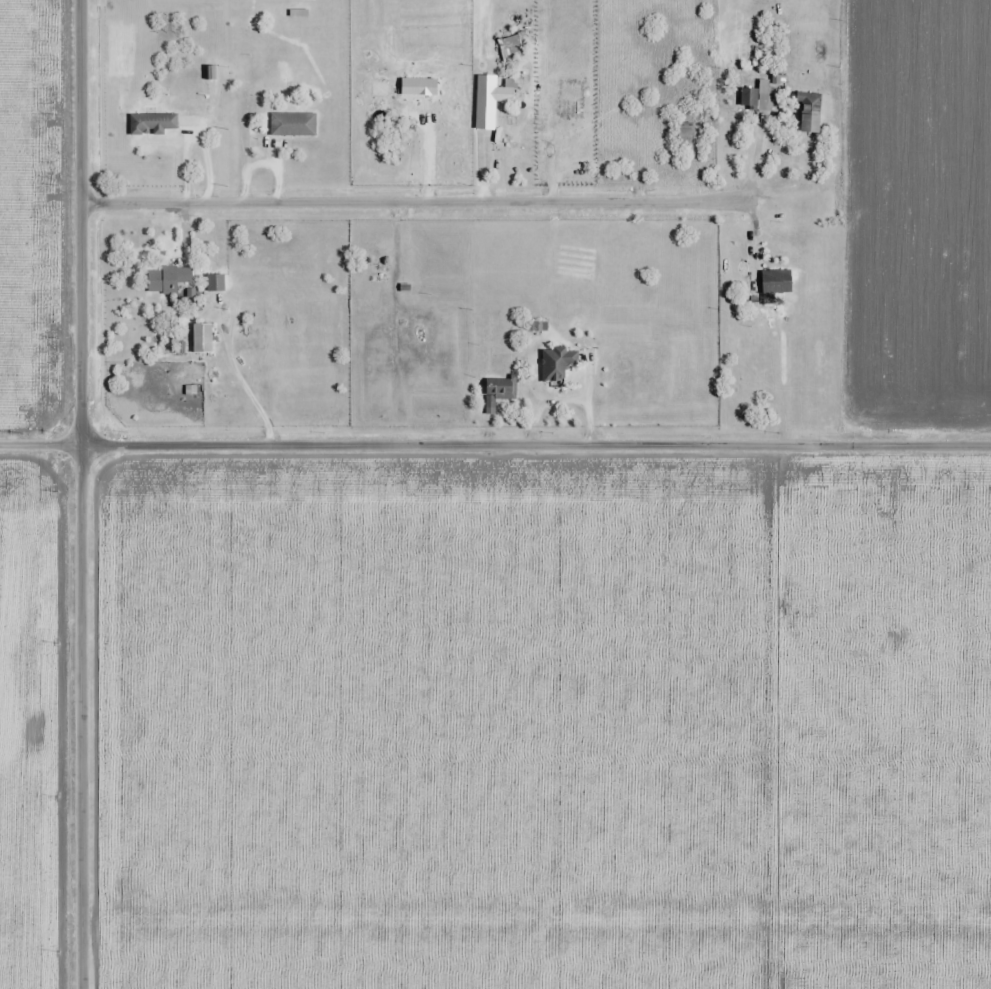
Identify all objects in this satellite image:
building: (512, 47)
building: (758, 97)
building: (490, 101)
building: (810, 114)
building: (153, 125)
building: (294, 126)
building: (686, 134)
building: (550, 137)
road: (483, 171)
road: (421, 203)
building: (381, 272)
building: (169, 279)
building: (777, 283)
building: (203, 339)
building: (558, 365)
building: (500, 393)
road: (495, 444)
road: (84, 494)

